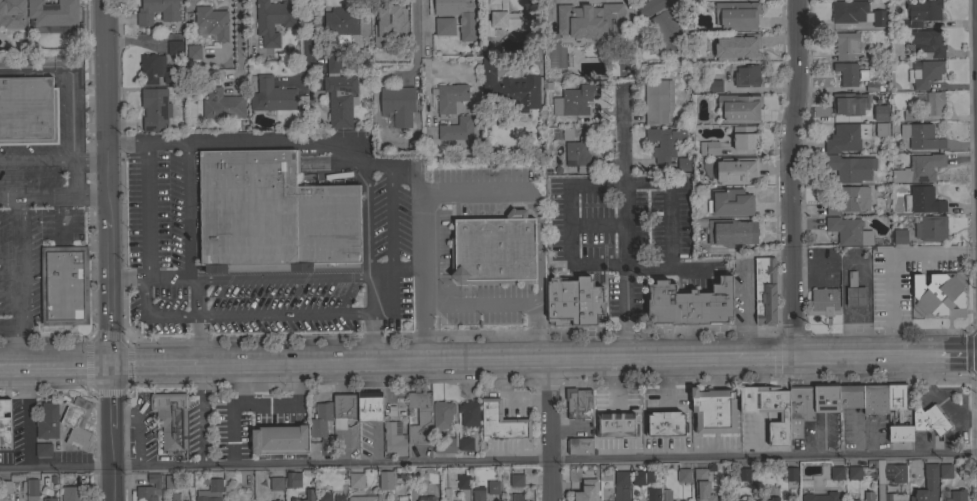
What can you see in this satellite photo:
building: (923, 11)
building: (12, 13)
building: (856, 13)
building: (51, 14)
building: (736, 15)
building: (170, 16)
building: (459, 16)
building: (505, 19)
building: (272, 20)
building: (212, 21)
building: (592, 22)
building: (340, 24)
building: (665, 24)
building: (389, 26)
building: (444, 26)
road: (414, 38)
road: (426, 38)
building: (718, 40)
road: (307, 41)
building: (926, 42)
building: (745, 44)
building: (846, 45)
building: (175, 47)
building: (193, 52)
building: (333, 62)
building: (156, 69)
building: (849, 73)
building: (924, 73)
building: (747, 76)
building: (716, 85)
building: (873, 86)
building: (509, 87)
building: (272, 95)
road: (71, 97)
building: (449, 97)
building: (340, 99)
building: (574, 100)
building: (658, 101)
building: (934, 103)
building: (222, 104)
building: (398, 104)
building: (843, 104)
building: (155, 108)
building: (739, 108)
building: (871, 111)
building: (908, 114)
building: (22, 120)
building: (457, 129)
building: (881, 129)
building: (921, 136)
building: (846, 137)
building: (744, 138)
road: (314, 141)
building: (663, 142)
building: (475, 147)
building: (708, 147)
building: (578, 155)
road: (37, 159)
road: (90, 159)
building: (683, 164)
building: (849, 168)
building: (918, 169)
building: (736, 170)
road: (790, 175)
road: (615, 182)
road: (54, 195)
building: (849, 200)
building: (923, 200)
building: (731, 202)
building: (245, 209)
road: (143, 210)
road: (184, 216)
road: (390, 217)
road: (367, 220)
road: (421, 221)
road: (624, 222)
building: (325, 223)
building: (930, 228)
building: (848, 231)
building: (731, 232)
building: (899, 236)
road: (109, 250)
building: (490, 258)
road: (895, 264)
road: (397, 268)
road: (277, 278)
road: (19, 280)
building: (64, 284)
building: (764, 290)
building: (854, 292)
building: (938, 295)
road: (194, 300)
building: (574, 302)
building: (823, 302)
building: (690, 303)
road: (285, 313)
road: (157, 314)
road: (372, 316)
road: (10, 325)
road: (451, 335)
road: (45, 337)
road: (199, 338)
road: (123, 339)
road: (971, 349)
road: (950, 351)
road: (546, 356)
road: (25, 364)
road: (80, 364)
traffic signals: (110, 364)
road: (140, 364)
road: (330, 382)
road: (46, 386)
building: (849, 395)
road: (936, 395)
building: (896, 396)
building: (825, 398)
building: (874, 398)
building: (578, 403)
building: (369, 406)
building: (344, 409)
building: (768, 409)
building: (713, 410)
building: (799, 410)
building: (390, 413)
building: (469, 413)
building: (442, 414)
building: (420, 417)
building: (171, 418)
building: (929, 419)
building: (47, 421)
building: (77, 422)
building: (501, 422)
building: (665, 423)
building: (5, 424)
building: (616, 424)
road: (549, 428)
building: (321, 429)
building: (900, 431)
building: (394, 438)
road: (819, 438)
building: (280, 440)
building: (466, 444)
building: (444, 445)
building: (580, 446)
building: (43, 449)
road: (488, 460)
building: (673, 466)
building: (945, 471)
building: (836, 472)
building: (854, 472)
building: (306, 473)
building: (790, 473)
building: (743, 474)
building: (411, 475)
building: (683, 475)
building: (432, 476)
building: (641, 477)
building: (656, 477)
building: (53, 479)
building: (154, 479)
building: (293, 479)
building: (898, 479)
building: (330, 480)
building: (356, 480)
building: (385, 480)
building: (464, 480)
building: (516, 480)
building: (172, 481)
building: (930, 481)
building: (276, 483)
building: (215, 484)
building: (702, 485)
building: (226, 486)
building: (621, 486)
building: (6, 487)
building: (493, 487)
building: (422, 488)
building: (32, 490)
building: (587, 491)
building: (74, 493)
building: (145, 493)
building: (479, 493)
building: (446, 494)
building: (653, 494)
building: (666, 495)
building: (953, 495)
building: (306, 496)
building: (324, 496)
building: (821, 496)
building: (868, 496)
building: (175, 497)
building: (339, 497)
building: (510, 497)
building: (518, 497)
building: (862, 497)
building: (362, 498)
building: (49, 499)
building: (401, 499)
building: (769, 499)
building: (277, 500)
building: (681, 500)
building: (735, 500)
building: (855, 500)

